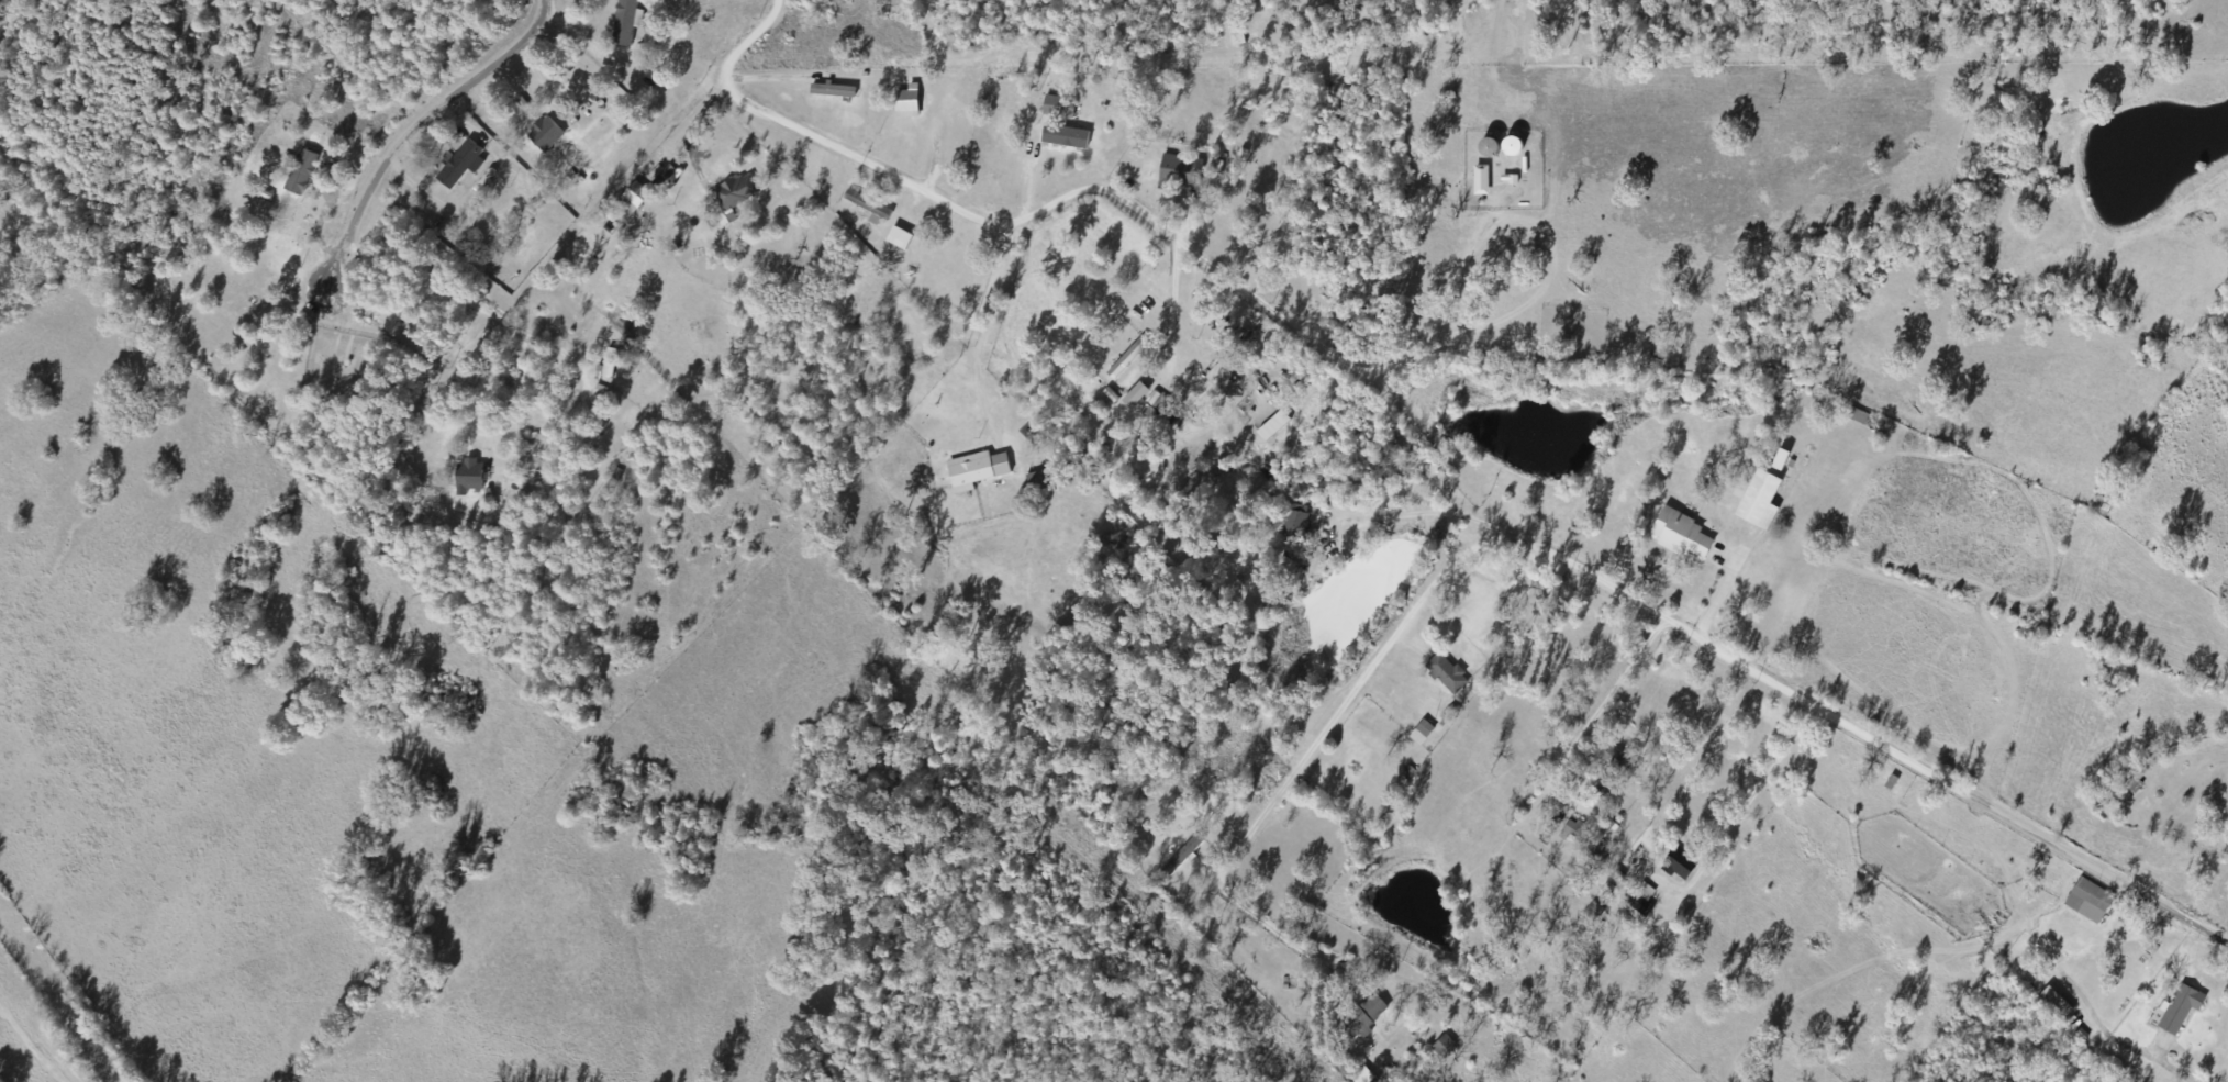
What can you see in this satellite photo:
building: (630, 24)
road: (121, 46)
building: (832, 92)
building: (905, 103)
building: (1057, 109)
building: (543, 135)
building: (1508, 149)
building: (1484, 150)
building: (457, 166)
building: (298, 178)
building: (1479, 182)
building: (865, 205)
road: (1022, 211)
road: (442, 232)
building: (898, 239)
building: (1125, 359)
building: (573, 434)
building: (555, 442)
building: (480, 449)
building: (968, 473)
building: (1041, 480)
building: (1756, 501)
building: (2104, 507)
building: (1292, 522)
building: (1678, 535)
building: (1244, 577)
building: (1444, 676)
road: (1373, 698)
road: (1860, 732)
building: (1419, 734)
building: (1619, 762)
building: (2132, 779)
road: (1742, 808)
building: (1572, 833)
building: (1180, 856)
building: (1674, 862)
building: (2086, 902)
building: (1635, 907)
building: (2051, 1005)
building: (2179, 1010)
building: (1364, 1017)
road: (26, 1045)
building: (1442, 1048)

